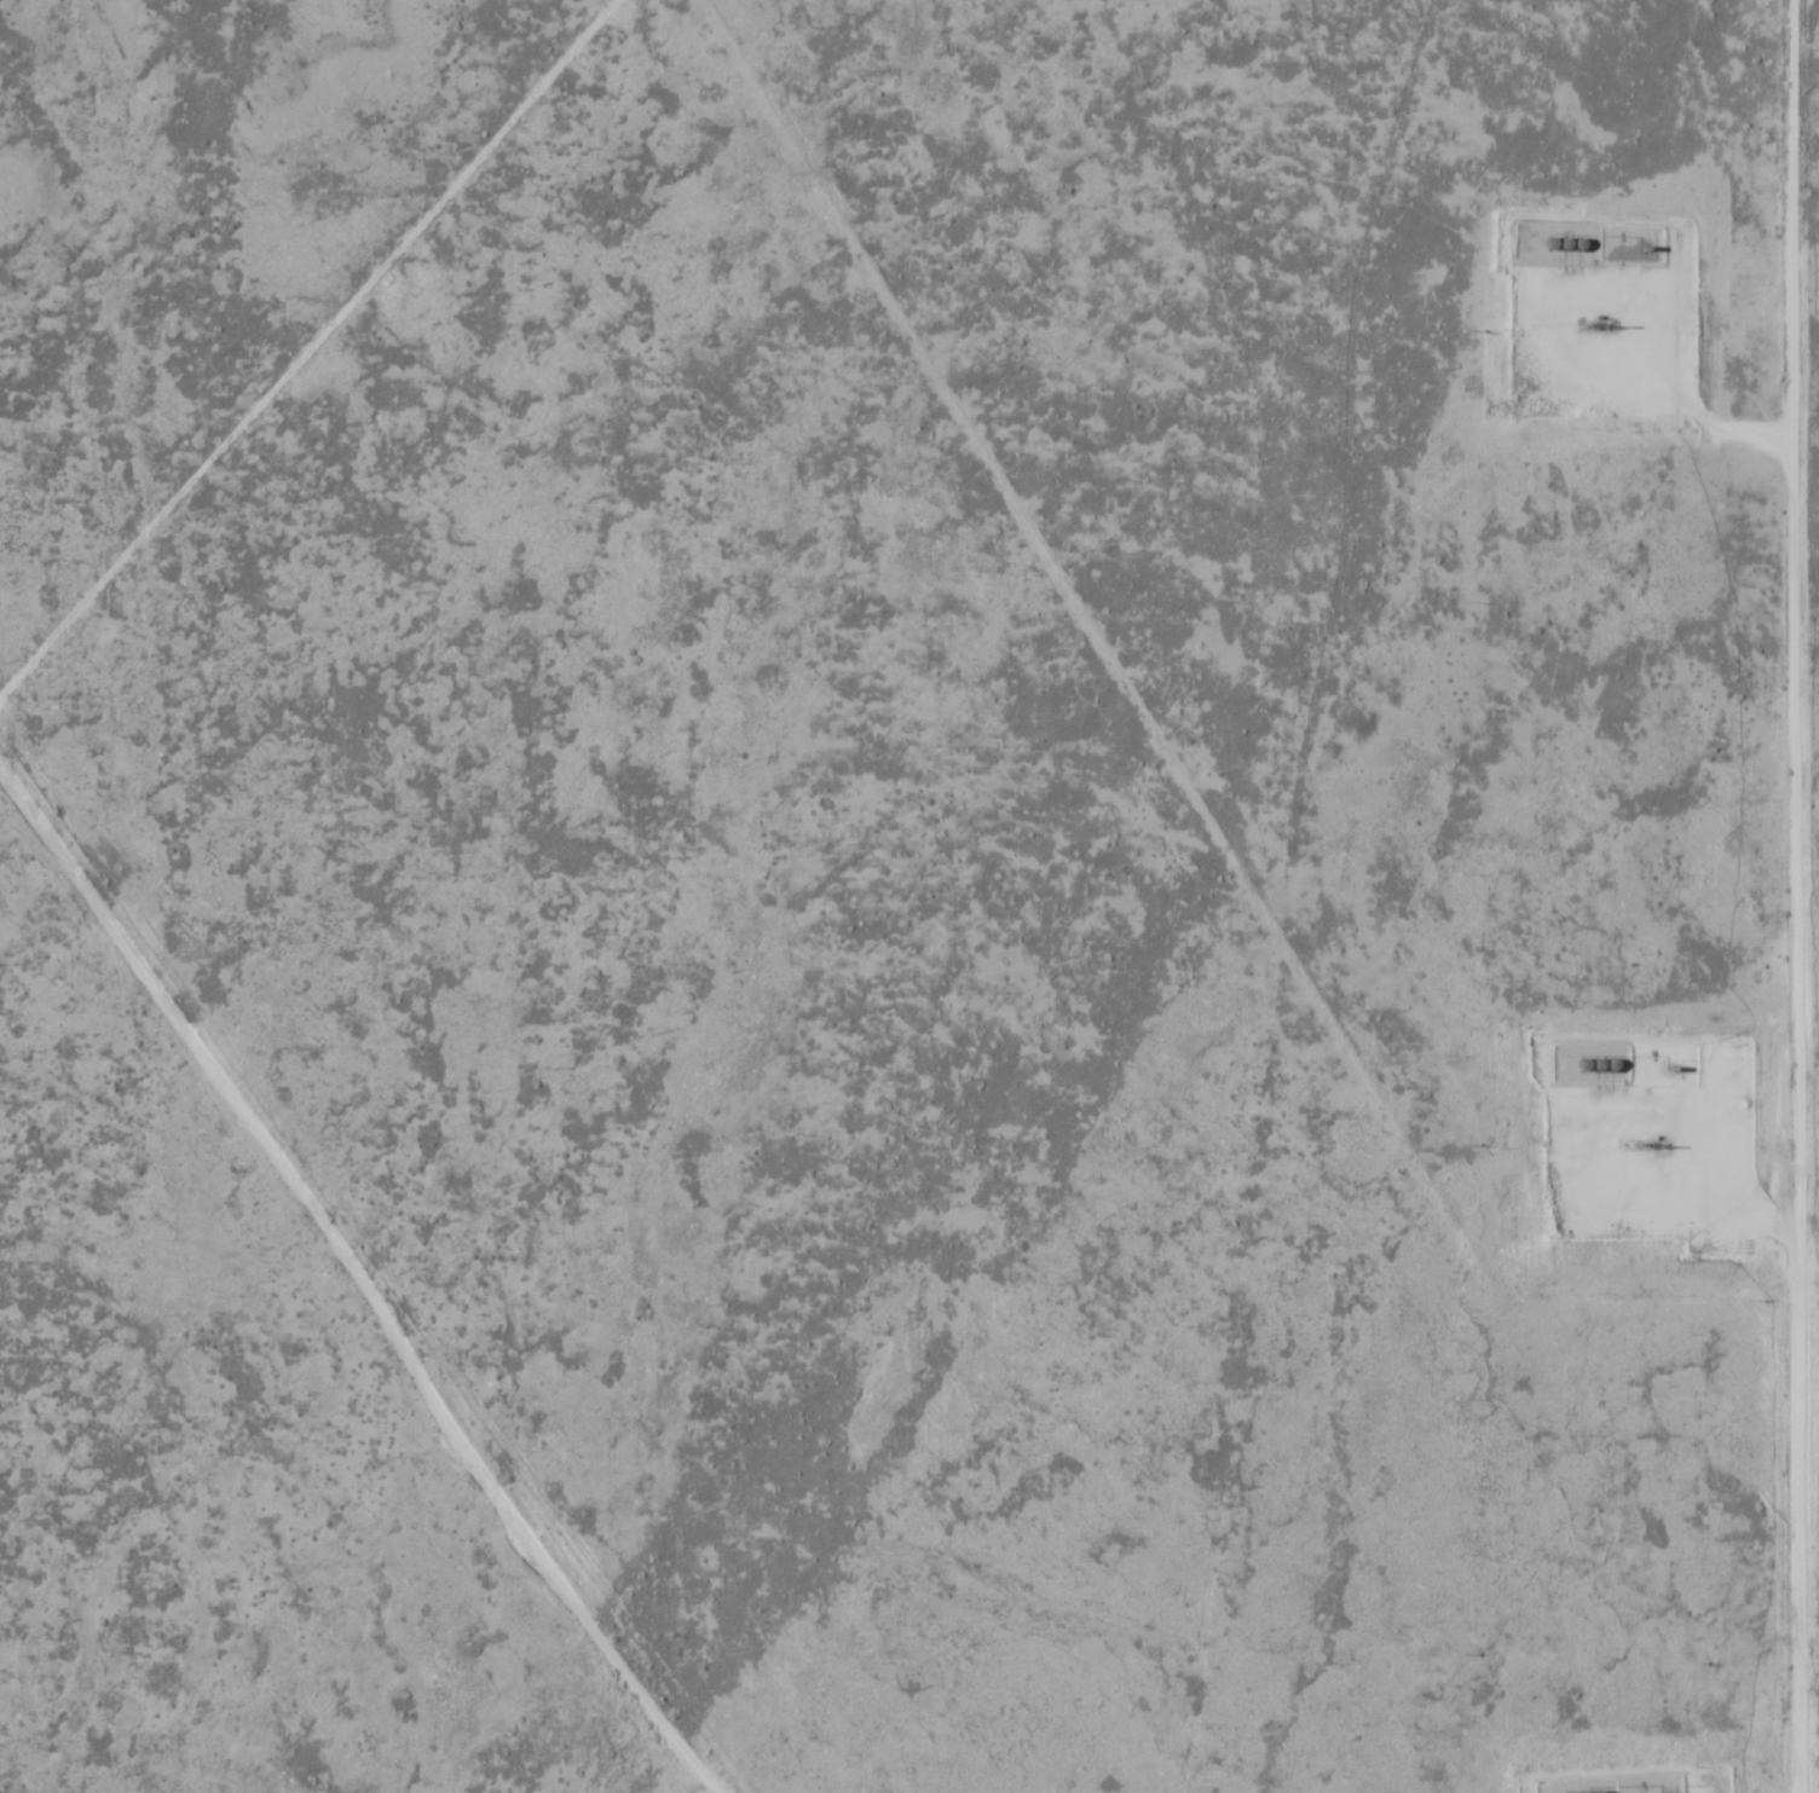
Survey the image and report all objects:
power tower: (1818, 115)
petroleum well: (1600, 324)
road: (311, 343)
road: (1789, 896)
petroleum well: (1652, 1144)
road: (1668, 1162)
road: (353, 1283)

